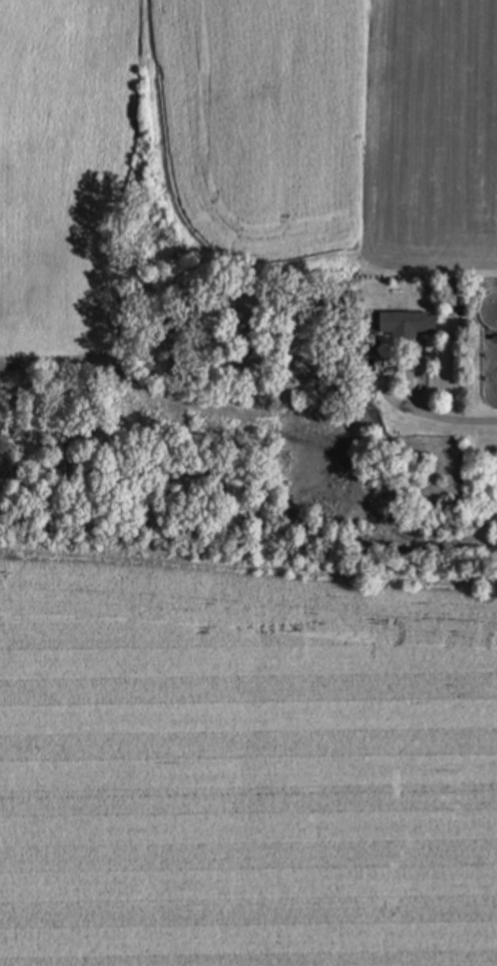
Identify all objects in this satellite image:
building: (407, 326)
road: (430, 418)

